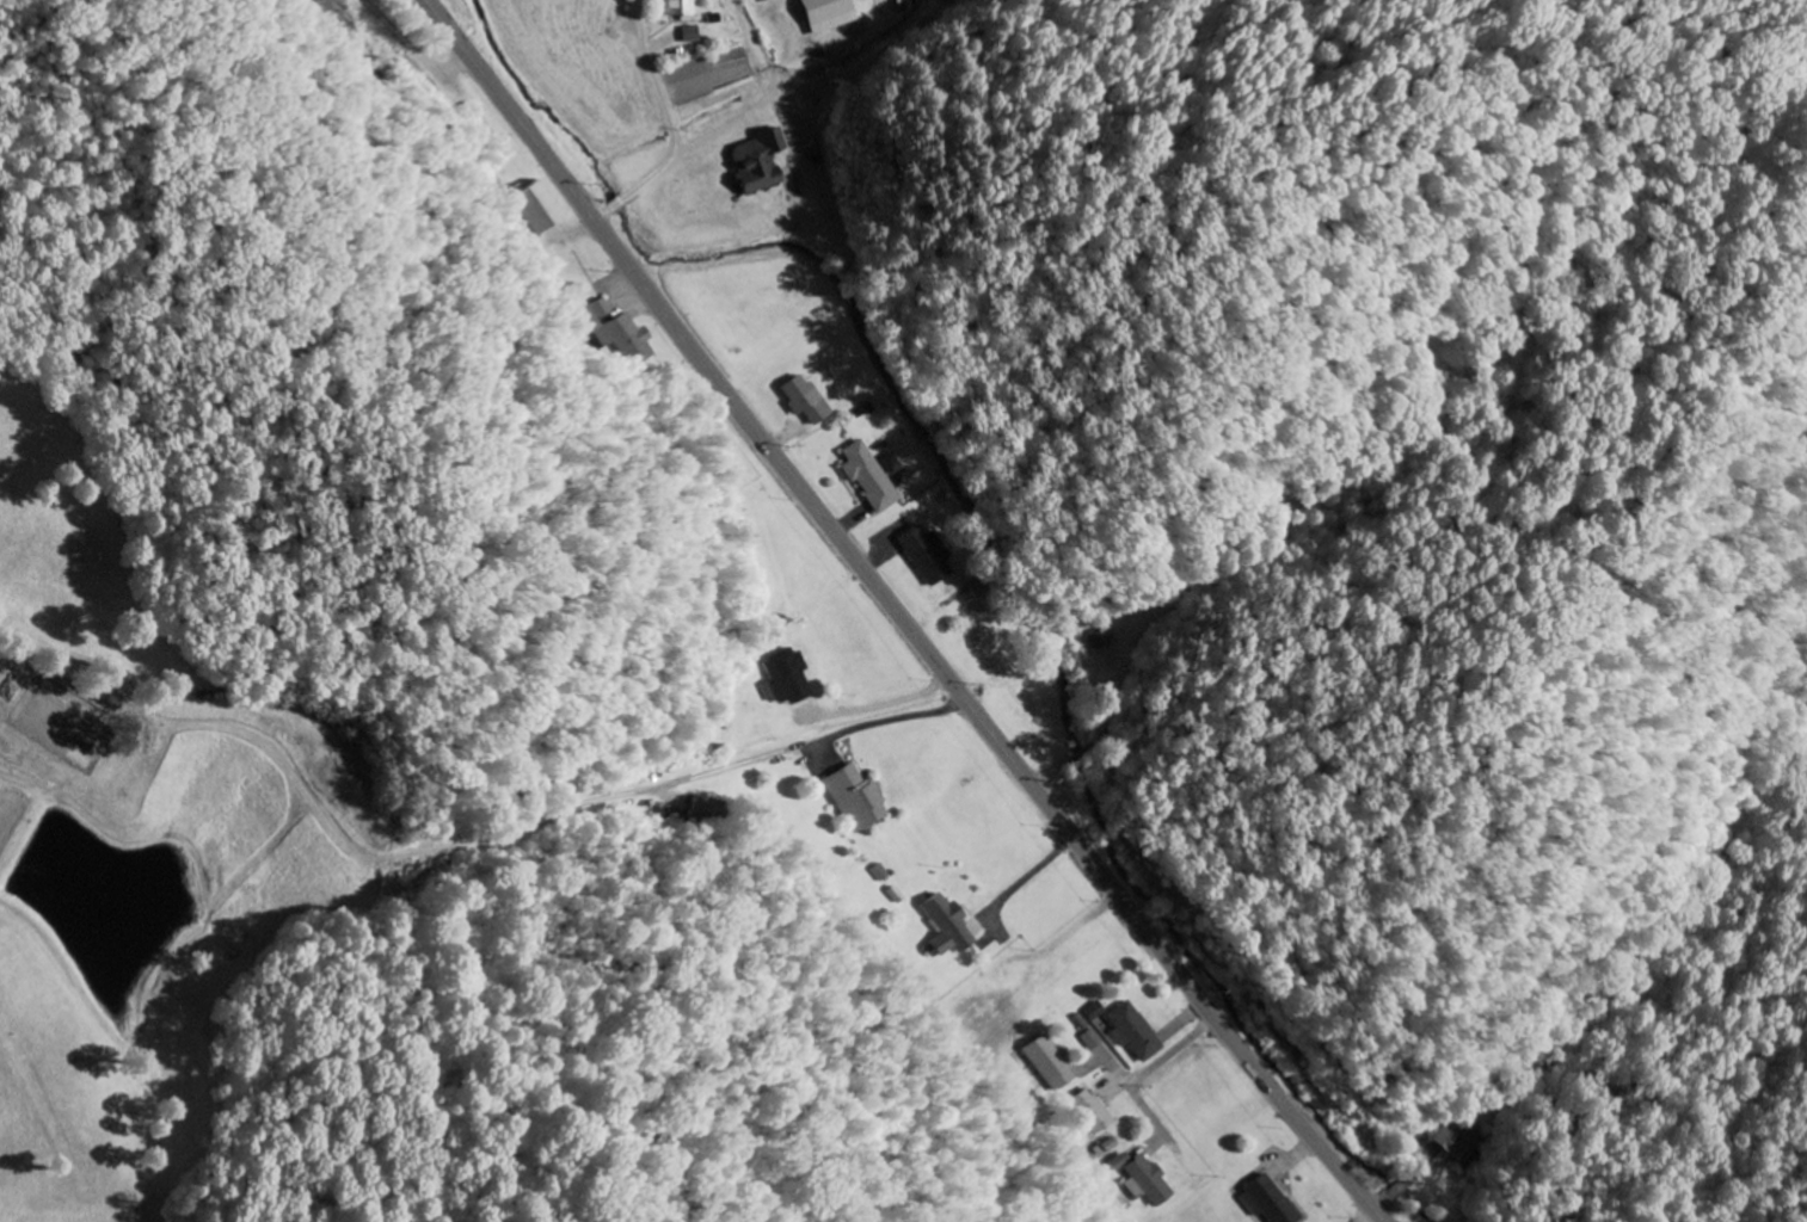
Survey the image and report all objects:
building: (678, 11)
building: (825, 16)
building: (687, 35)
road: (660, 122)
building: (755, 161)
building: (540, 208)
building: (620, 333)
building: (805, 400)
building: (890, 464)
building: (867, 477)
building: (924, 554)
building: (977, 587)
road: (901, 615)
building: (1100, 640)
building: (785, 678)
building: (858, 798)
building: (709, 810)
building: (948, 927)
building: (1095, 1011)
building: (1133, 1032)
building: (1092, 1041)
building: (1052, 1063)
building: (1094, 1112)
building: (1457, 1142)
building: (1112, 1147)
building: (1145, 1179)
building: (1267, 1202)
road: (1367, 1216)

